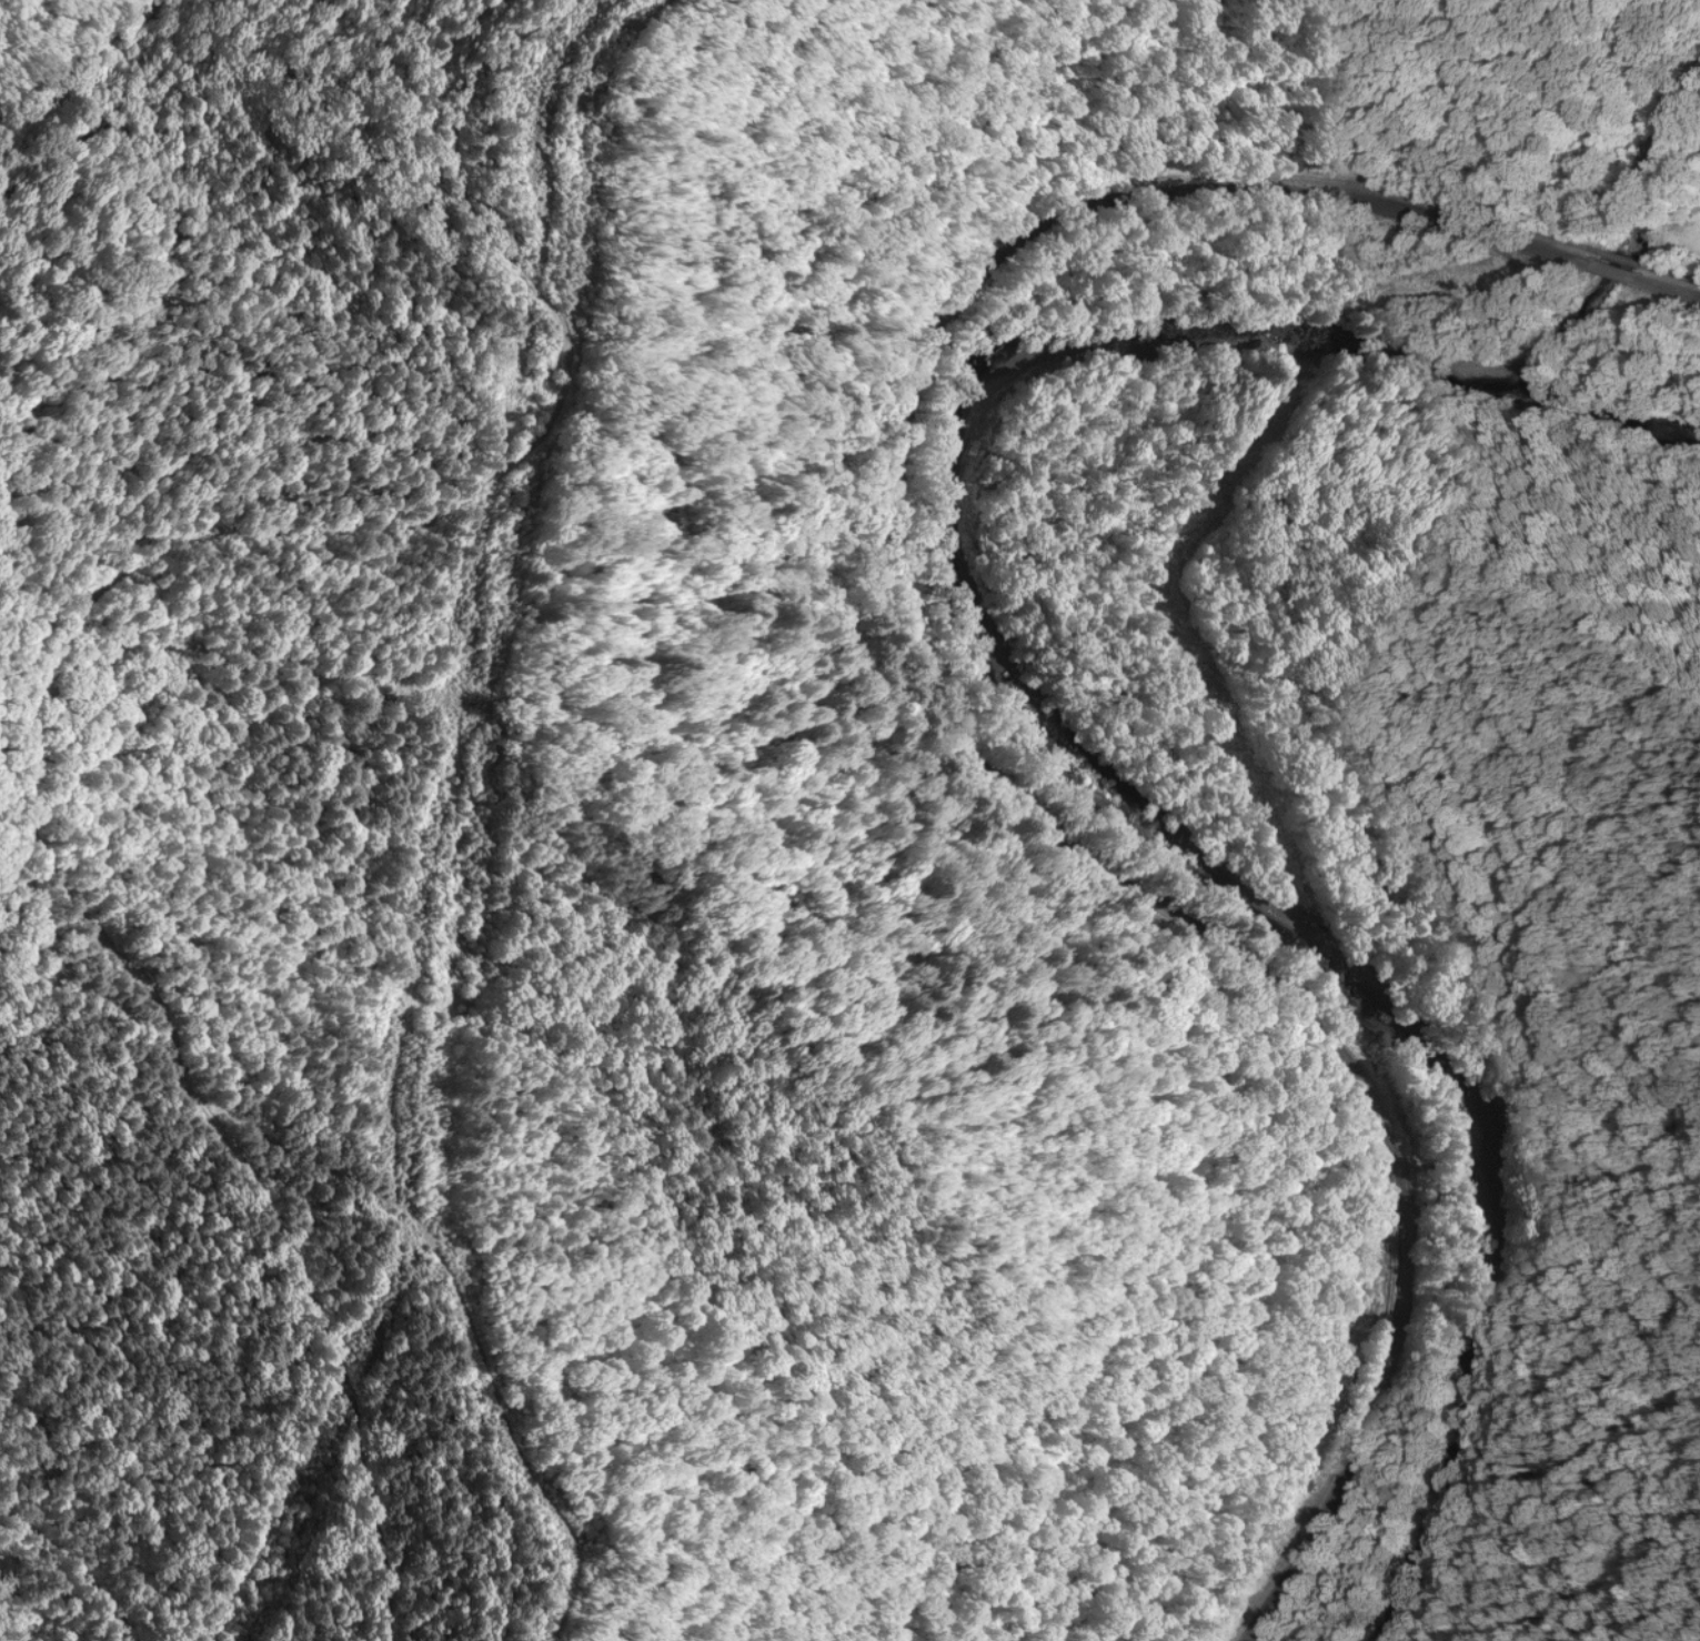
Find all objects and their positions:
road: (1002, 701)

